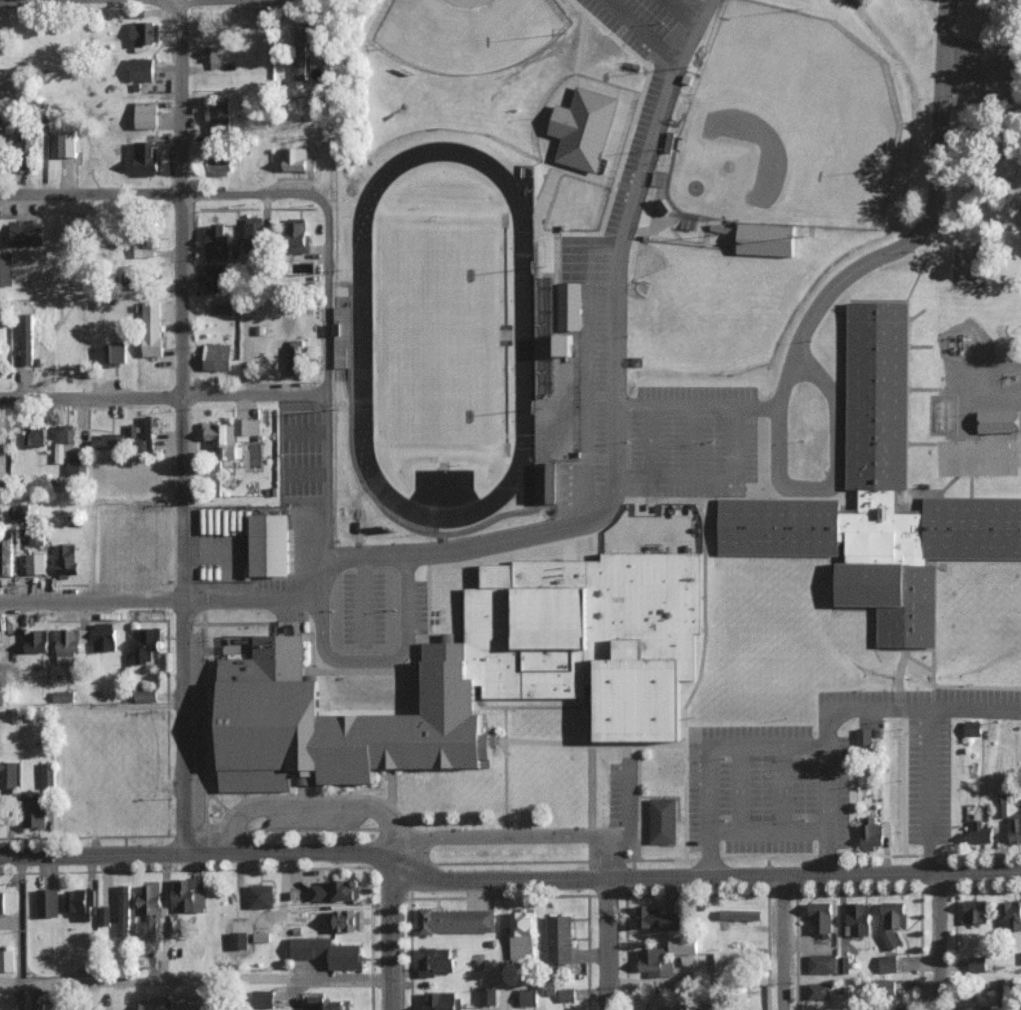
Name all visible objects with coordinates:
park: (470, 32)
building: (144, 33)
building: (305, 37)
building: (213, 55)
building: (300, 67)
building: (142, 69)
building: (9, 80)
building: (146, 114)
building: (219, 115)
road: (934, 122)
park: (789, 125)
building: (584, 128)
building: (2, 142)
building: (24, 143)
building: (70, 143)
building: (146, 158)
building: (297, 160)
building: (220, 161)
road: (162, 193)
building: (667, 206)
building: (26, 233)
building: (299, 235)
building: (255, 236)
road: (617, 237)
building: (767, 240)
building: (217, 242)
building: (144, 245)
building: (6, 269)
building: (217, 277)
building: (572, 306)
building: (153, 328)
track: (360, 335)
building: (341, 336)
park: (438, 337)
building: (26, 339)
building: (568, 345)
building: (116, 353)
building: (295, 355)
building: (217, 356)
road: (798, 374)
road: (325, 390)
road: (162, 397)
building: (999, 421)
road: (179, 429)
parking lot: (669, 429)
building: (148, 432)
building: (34, 436)
building: (230, 436)
building: (110, 441)
building: (64, 443)
building: (77, 466)
building: (548, 482)
parking lot: (564, 489)
building: (878, 499)
building: (25, 511)
road: (570, 530)
building: (36, 538)
building: (271, 545)
building: (7, 555)
building: (68, 558)
building: (36, 563)
road: (161, 596)
parking lot: (420, 607)
parking lot: (363, 609)
building: (104, 636)
building: (36, 641)
building: (147, 644)
building: (67, 646)
building: (483, 677)
parking lot: (979, 693)
building: (146, 695)
building: (63, 696)
parking lot: (875, 697)
road: (856, 709)
building: (973, 727)
parking lot: (196, 730)
building: (864, 735)
road: (926, 743)
road: (765, 746)
building: (48, 772)
building: (8, 773)
parking lot: (926, 780)
parking lot: (768, 788)
parking lot: (615, 795)
building: (1002, 804)
building: (0, 806)
road: (303, 808)
building: (35, 814)
building: (663, 820)
parking lot: (313, 821)
building: (1015, 827)
road: (766, 831)
building: (980, 832)
building: (872, 833)
road: (501, 836)
road: (385, 848)
road: (203, 859)
road: (707, 874)
building: (338, 889)
building: (186, 895)
building: (261, 895)
building: (2, 901)
building: (80, 901)
building: (47, 902)
road: (608, 903)
building: (123, 909)
building: (976, 910)
building: (149, 911)
building: (1011, 913)
building: (741, 914)
building: (104, 915)
building: (822, 917)
building: (859, 917)
building: (660, 918)
building: (346, 919)
building: (456, 920)
building: (892, 922)
road: (22, 934)
building: (522, 934)
building: (261, 936)
building: (560, 938)
road: (940, 941)
road: (783, 943)
road: (392, 944)
building: (683, 945)
building: (329, 951)
building: (7, 959)
building: (435, 960)
building: (652, 961)
building: (822, 963)
building: (888, 963)
building: (978, 963)
building: (841, 964)
road: (11, 978)
road: (207, 980)
building: (819, 990)
building: (486, 994)
building: (567, 994)
building: (528, 996)
building: (214, 997)
building: (263, 998)
building: (442, 1000)
building: (328, 1004)
building: (42, 1006)
building: (994, 1007)
building: (760, 1009)

